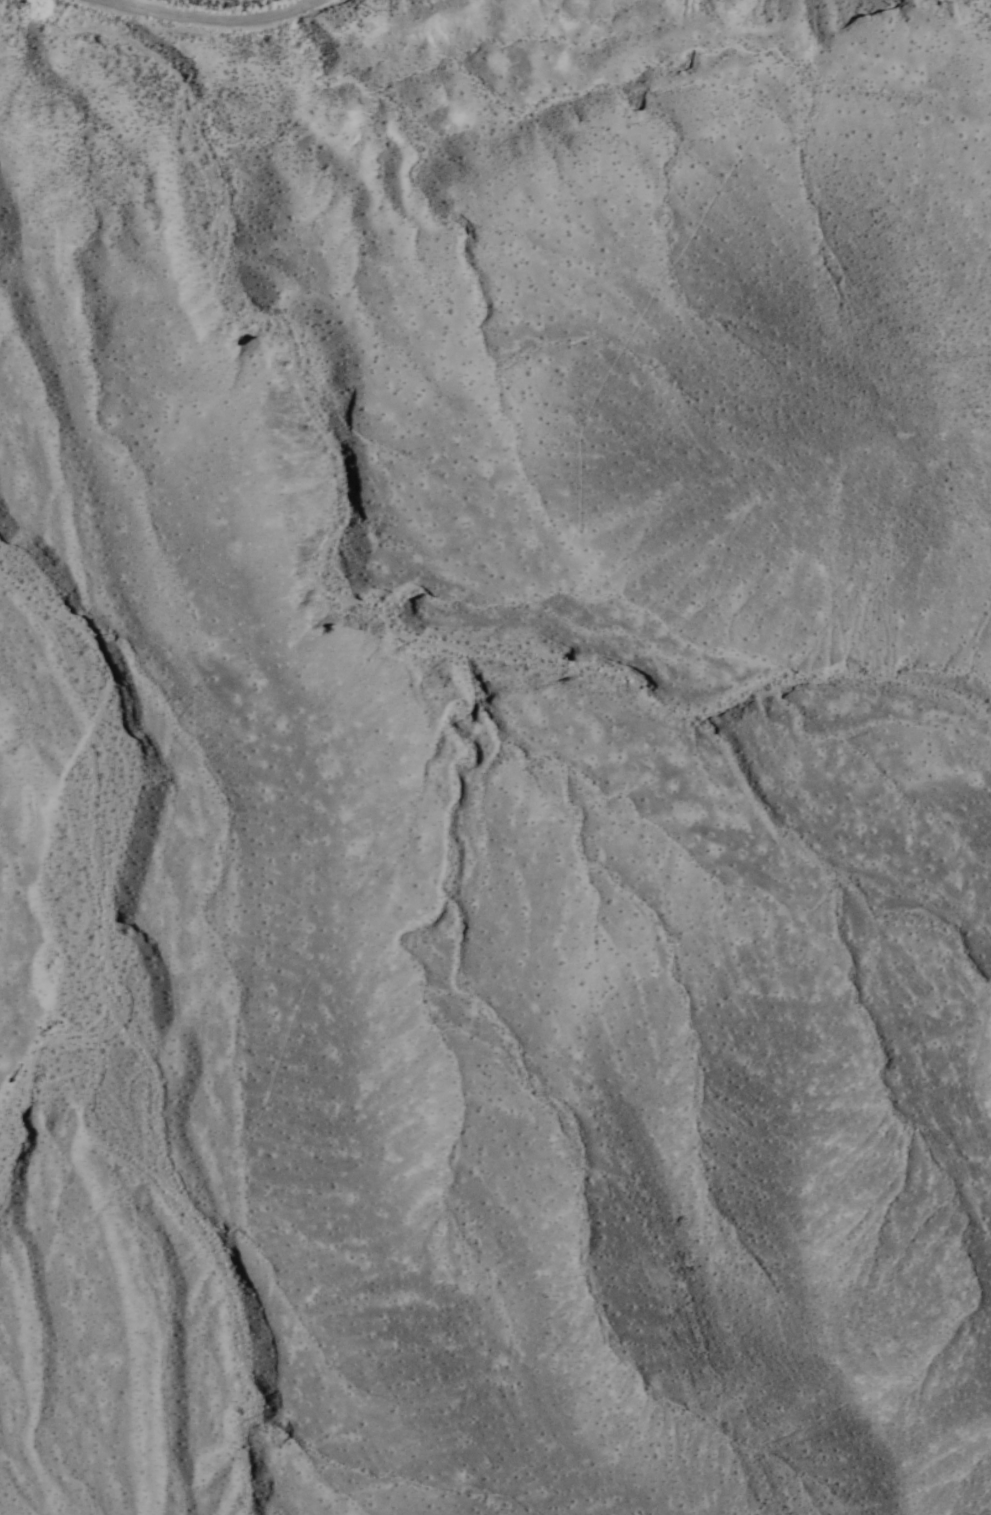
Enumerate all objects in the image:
road: (219, 20)

